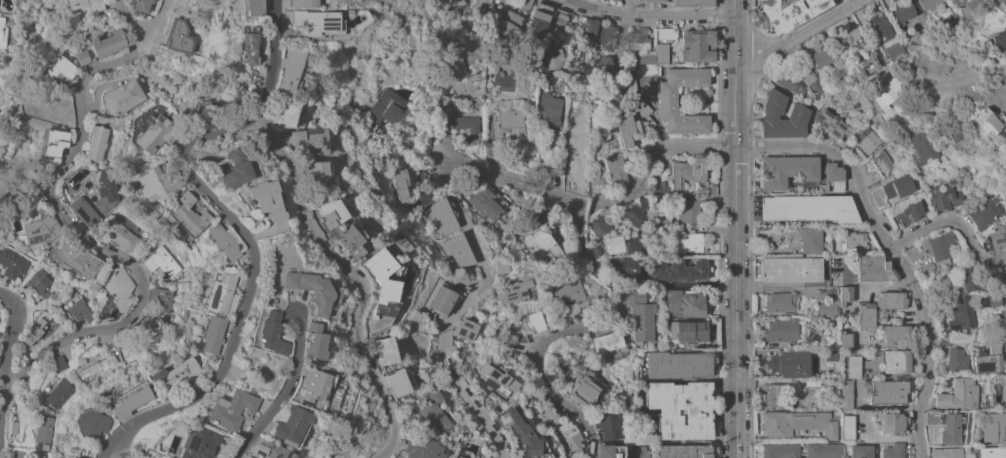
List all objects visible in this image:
building: (656, 0)
building: (957, 1)
building: (997, 1)
building: (302, 3)
building: (691, 3)
building: (87, 4)
building: (929, 4)
road: (838, 5)
building: (142, 6)
building: (973, 6)
building: (251, 8)
building: (483, 9)
building: (903, 11)
building: (791, 12)
road: (649, 13)
building: (923, 19)
building: (511, 20)
building: (538, 20)
road: (131, 21)
building: (316, 22)
building: (558, 23)
building: (944, 24)
building: (882, 27)
building: (3, 31)
building: (590, 31)
building: (667, 33)
building: (608, 34)
road: (796, 35)
building: (180, 36)
building: (918, 38)
building: (108, 41)
building: (999, 41)
building: (698, 45)
building: (249, 46)
building: (640, 46)
building: (895, 52)
building: (661, 53)
building: (552, 56)
building: (83, 57)
building: (828, 59)
building: (452, 62)
building: (867, 62)
building: (605, 67)
building: (59, 69)
building: (647, 69)
building: (289, 70)
building: (583, 70)
building: (544, 76)
building: (810, 76)
building: (1003, 76)
building: (792, 83)
building: (962, 92)
building: (884, 94)
building: (123, 97)
building: (636, 99)
building: (668, 100)
road: (1001, 103)
building: (221, 106)
building: (549, 110)
building: (384, 111)
building: (799, 112)
building: (284, 113)
building: (598, 117)
building: (506, 122)
building: (983, 123)
building: (832, 124)
building: (467, 126)
building: (445, 131)
building: (632, 132)
building: (953, 132)
building: (156, 134)
building: (310, 140)
building: (866, 140)
building: (53, 141)
building: (97, 142)
building: (921, 148)
building: (491, 150)
road: (653, 159)
building: (882, 163)
building: (236, 169)
building: (615, 169)
building: (787, 170)
building: (437, 171)
building: (543, 171)
building: (318, 172)
building: (688, 172)
building: (835, 176)
building: (596, 177)
building: (153, 183)
building: (401, 183)
building: (658, 186)
building: (823, 187)
building: (105, 189)
building: (892, 190)
building: (945, 197)
building: (269, 199)
building: (487, 203)
building: (808, 208)
building: (83, 210)
building: (690, 210)
building: (541, 211)
building: (330, 212)
building: (987, 212)
building: (908, 214)
building: (188, 216)
building: (635, 216)
road: (230, 218)
building: (439, 218)
road: (68, 225)
road: (959, 225)
building: (598, 227)
building: (835, 228)
road: (736, 229)
building: (40, 230)
building: (120, 235)
road: (479, 235)
building: (351, 239)
building: (811, 240)
building: (227, 241)
building: (690, 241)
building: (855, 241)
building: (540, 242)
building: (614, 243)
building: (639, 244)
building: (996, 245)
building: (939, 248)
building: (459, 250)
building: (597, 250)
road: (892, 251)
building: (79, 259)
building: (162, 261)
building: (12, 262)
building: (379, 263)
building: (501, 266)
building: (874, 268)
building: (791, 269)
building: (677, 270)
building: (625, 271)
road: (355, 277)
building: (969, 277)
building: (41, 282)
building: (313, 288)
road: (779, 288)
building: (567, 290)
building: (514, 291)
building: (116, 292)
building: (221, 292)
building: (845, 295)
building: (161, 298)
building: (442, 299)
building: (990, 299)
building: (892, 300)
building: (599, 303)
building: (780, 303)
building: (684, 304)
building: (78, 308)
building: (828, 308)
building: (961, 312)
building: (371, 313)
building: (642, 316)
building: (865, 317)
building: (534, 321)
building: (36, 326)
road: (576, 327)
building: (466, 329)
building: (782, 329)
building: (271, 331)
building: (689, 331)
building: (212, 333)
building: (896, 333)
building: (845, 339)
building: (315, 341)
building: (943, 341)
building: (607, 342)
building: (145, 348)
building: (385, 350)
road: (9, 352)
building: (68, 353)
building: (957, 360)
building: (988, 360)
building: (896, 361)
building: (59, 363)
building: (99, 364)
building: (791, 364)
building: (677, 365)
building: (854, 367)
building: (177, 376)
building: (497, 379)
building: (396, 381)
building: (314, 388)
building: (60, 392)
road: (281, 392)
building: (584, 392)
building: (889, 392)
building: (775, 394)
building: (846, 394)
building: (959, 395)
building: (131, 402)
building: (527, 403)
building: (681, 408)
building: (230, 409)
building: (431, 411)
building: (548, 416)
building: (933, 417)
building: (92, 423)
building: (798, 423)
building: (892, 423)
building: (609, 425)
building: (291, 426)
building: (14, 427)
building: (848, 427)
building: (952, 427)
building: (993, 427)
building: (44, 429)
building: (522, 432)
building: (570, 435)
building: (199, 443)
road: (108, 446)
road: (120, 446)
building: (420, 448)
building: (271, 450)
building: (781, 450)
building: (823, 450)
building: (894, 450)
building: (684, 451)
building: (861, 451)
building: (622, 452)
building: (946, 452)
building: (991, 452)
building: (18, 453)
building: (37, 455)
building: (70, 456)
building: (247, 457)
building: (458, 457)
building: (483, 457)
building: (528, 457)

